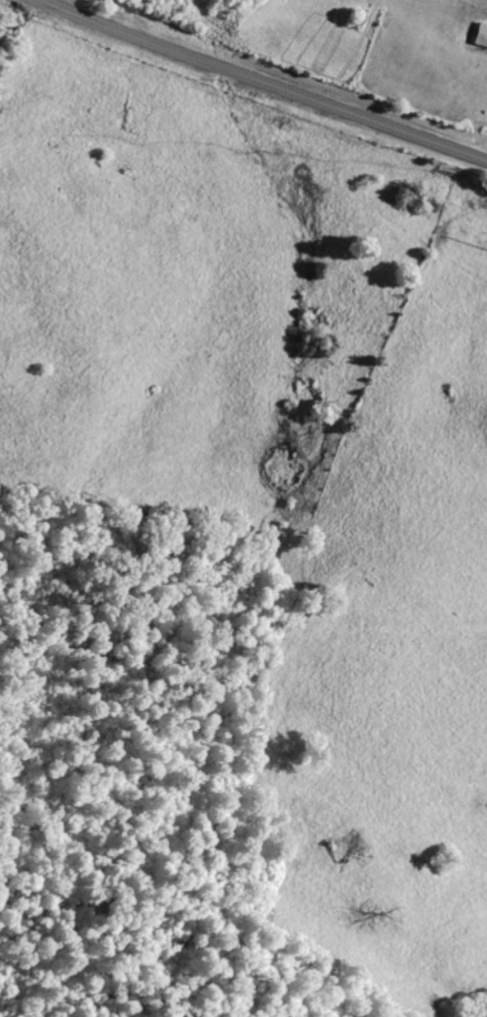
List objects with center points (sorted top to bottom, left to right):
road: (262, 83)

